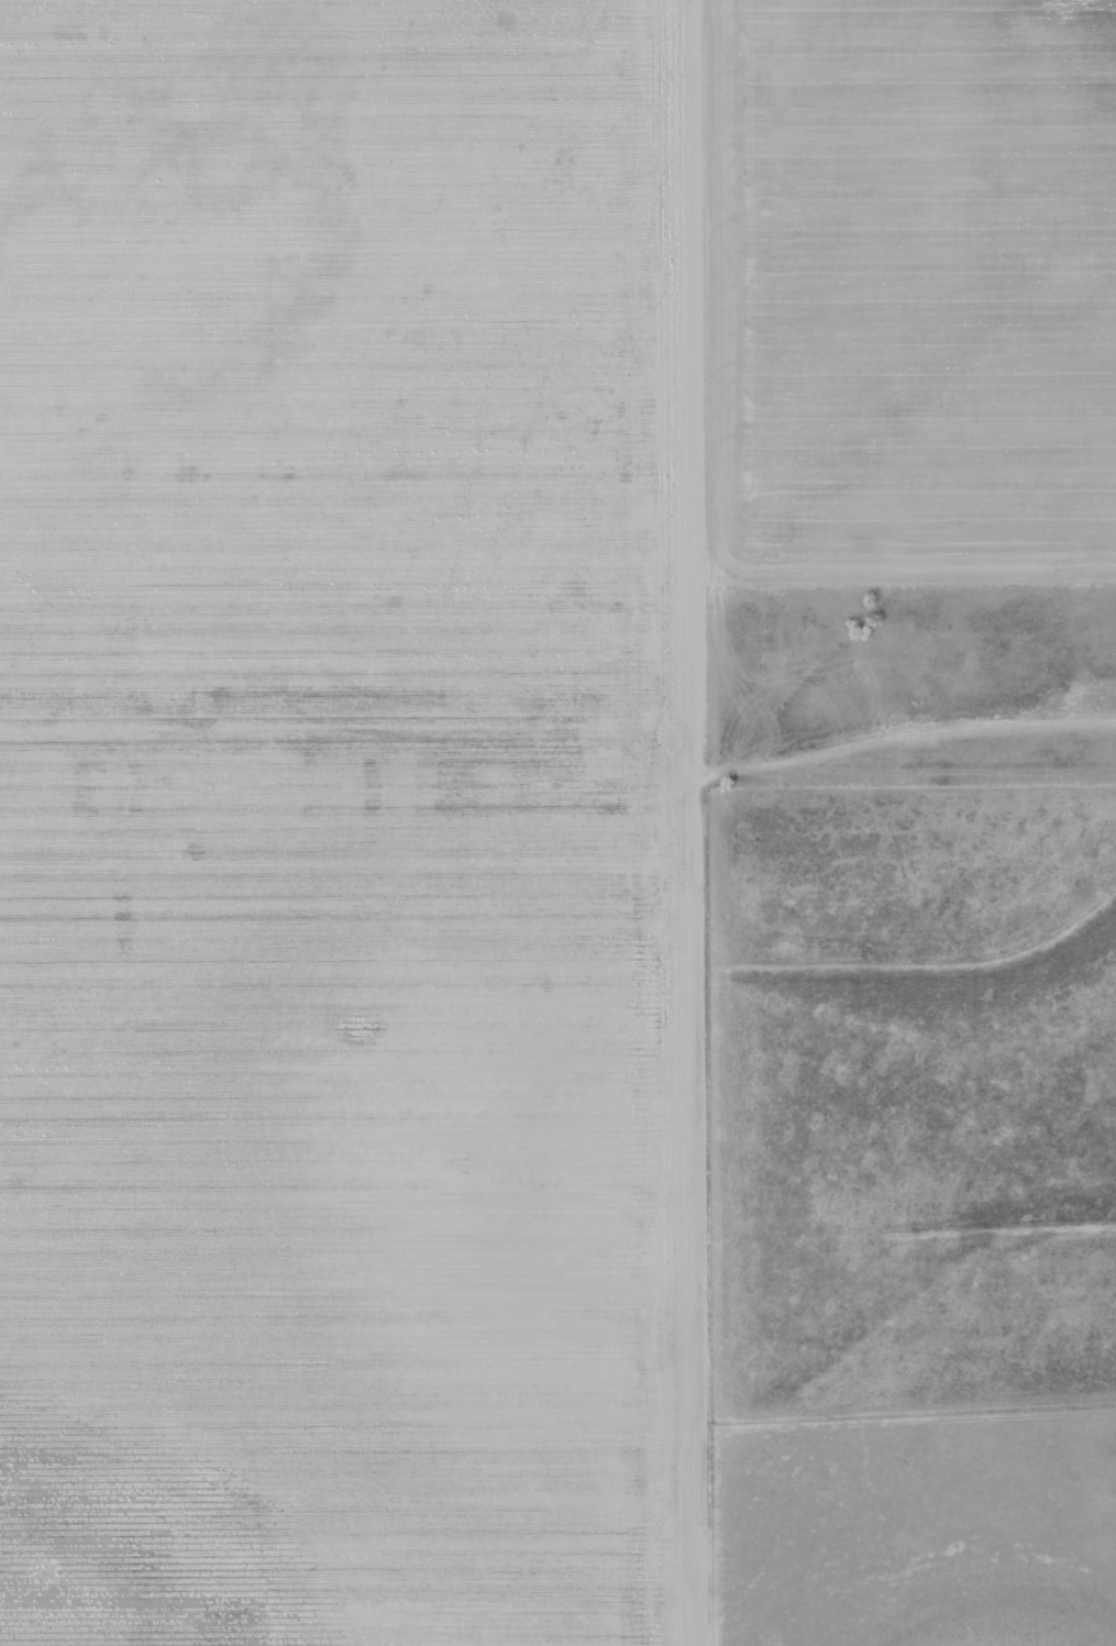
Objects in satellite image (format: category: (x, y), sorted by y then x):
road: (900, 734)
road: (696, 822)

